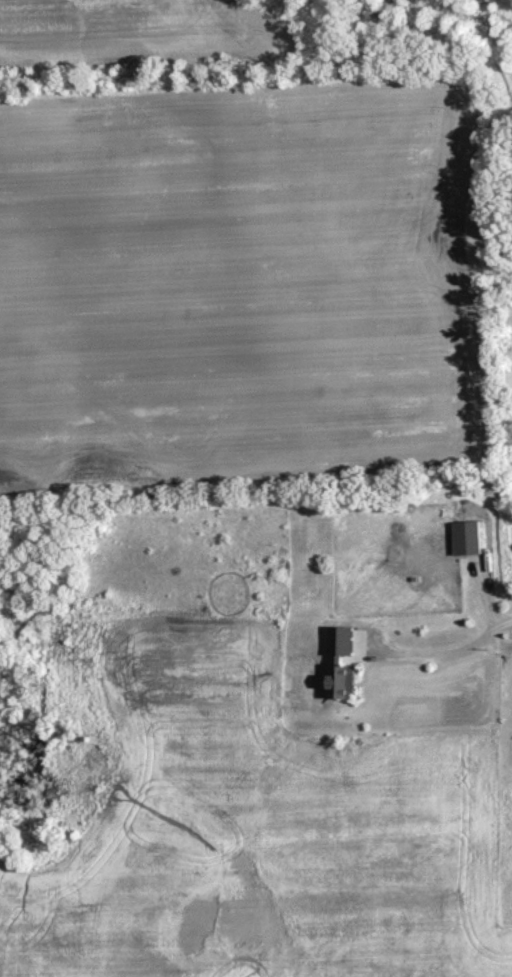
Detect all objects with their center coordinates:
building: (465, 535)
building: (340, 639)
building: (340, 680)

